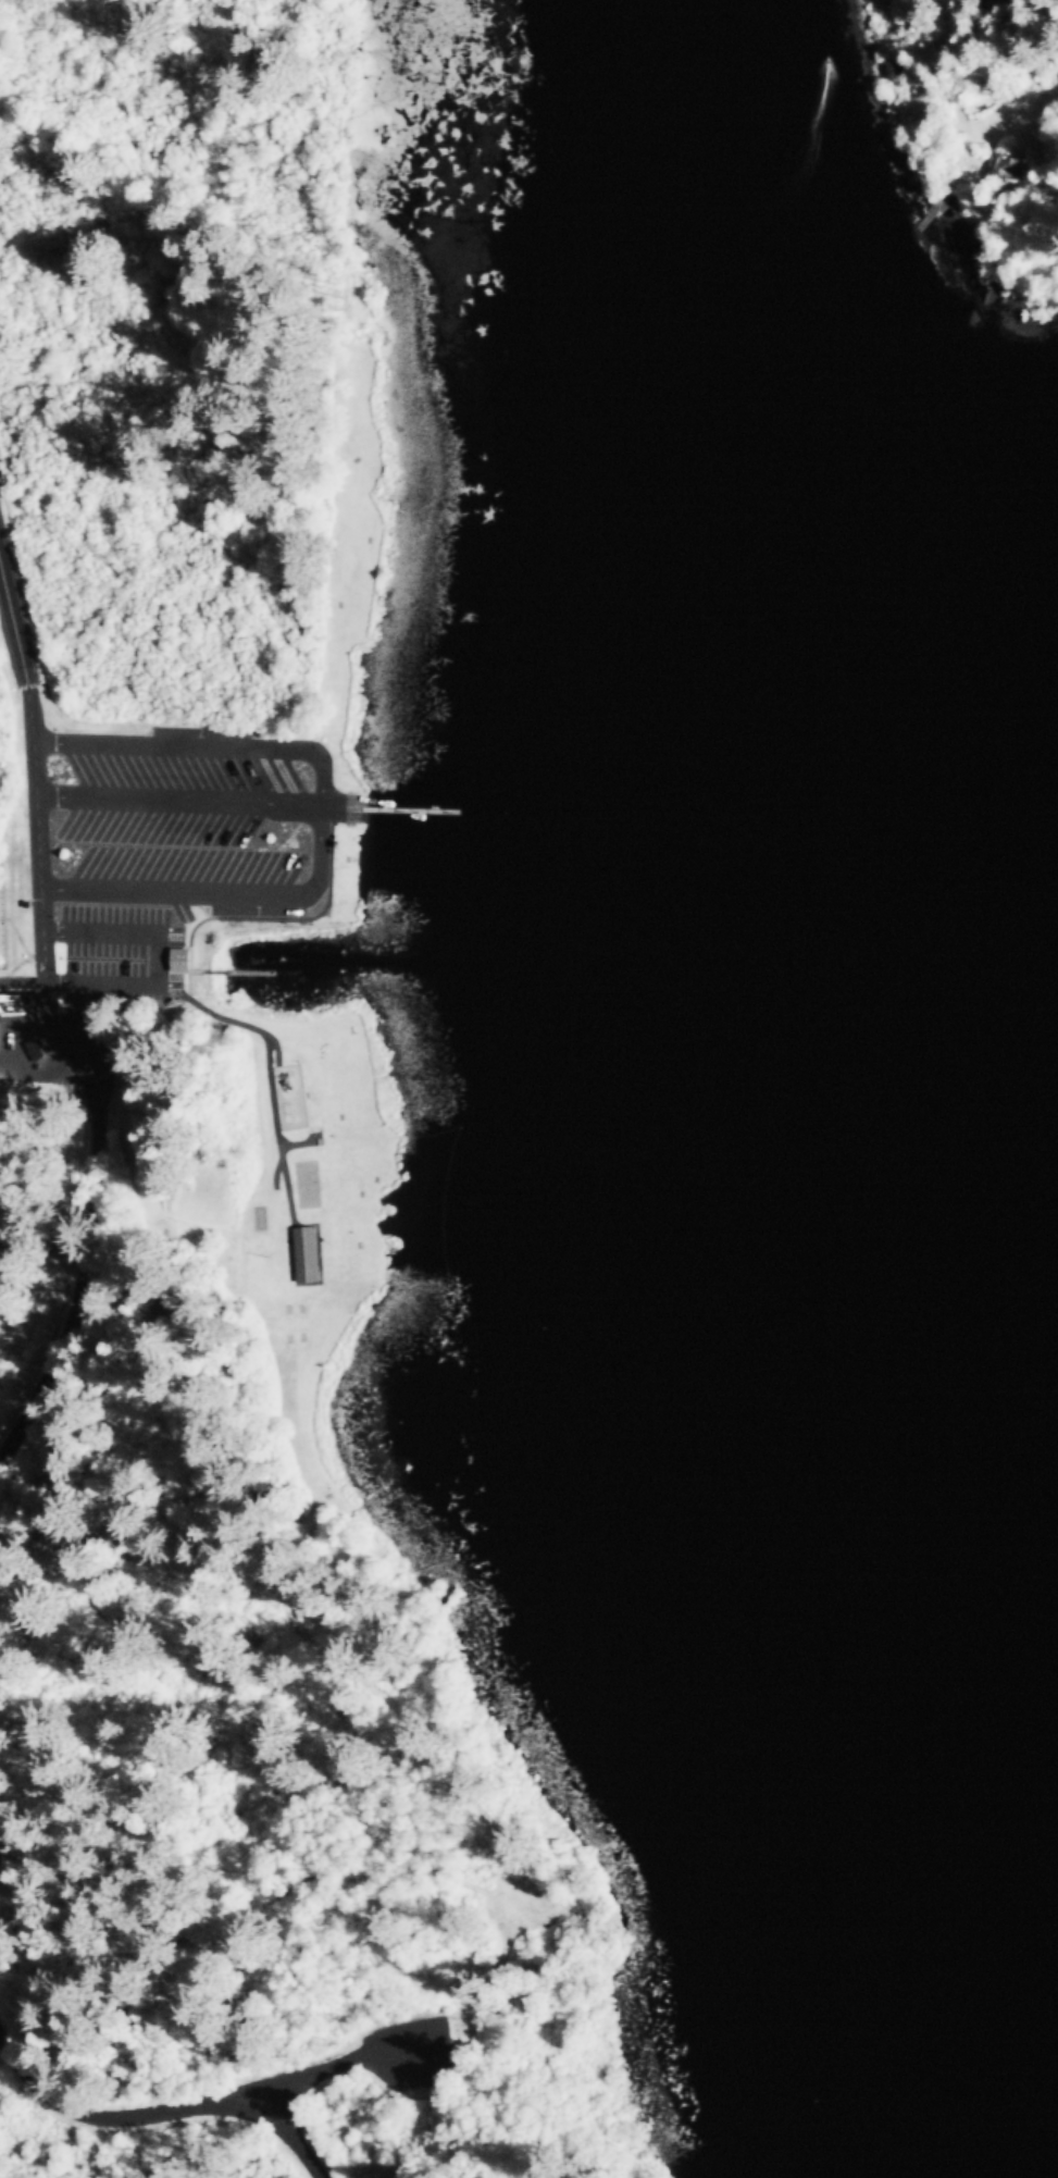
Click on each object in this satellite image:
building: (863, 33)
building: (896, 71)
building: (875, 75)
building: (1009, 169)
road: (36, 766)
road: (347, 801)
road: (182, 803)
pier: (407, 812)
road: (324, 818)
road: (348, 820)
parking lot: (152, 871)
road: (107, 935)
road: (104, 989)
building: (8, 998)
park: (203, 1007)
road: (60, 1031)
building: (308, 1257)
road: (90, 1279)
road: (357, 2067)
road: (163, 2114)

